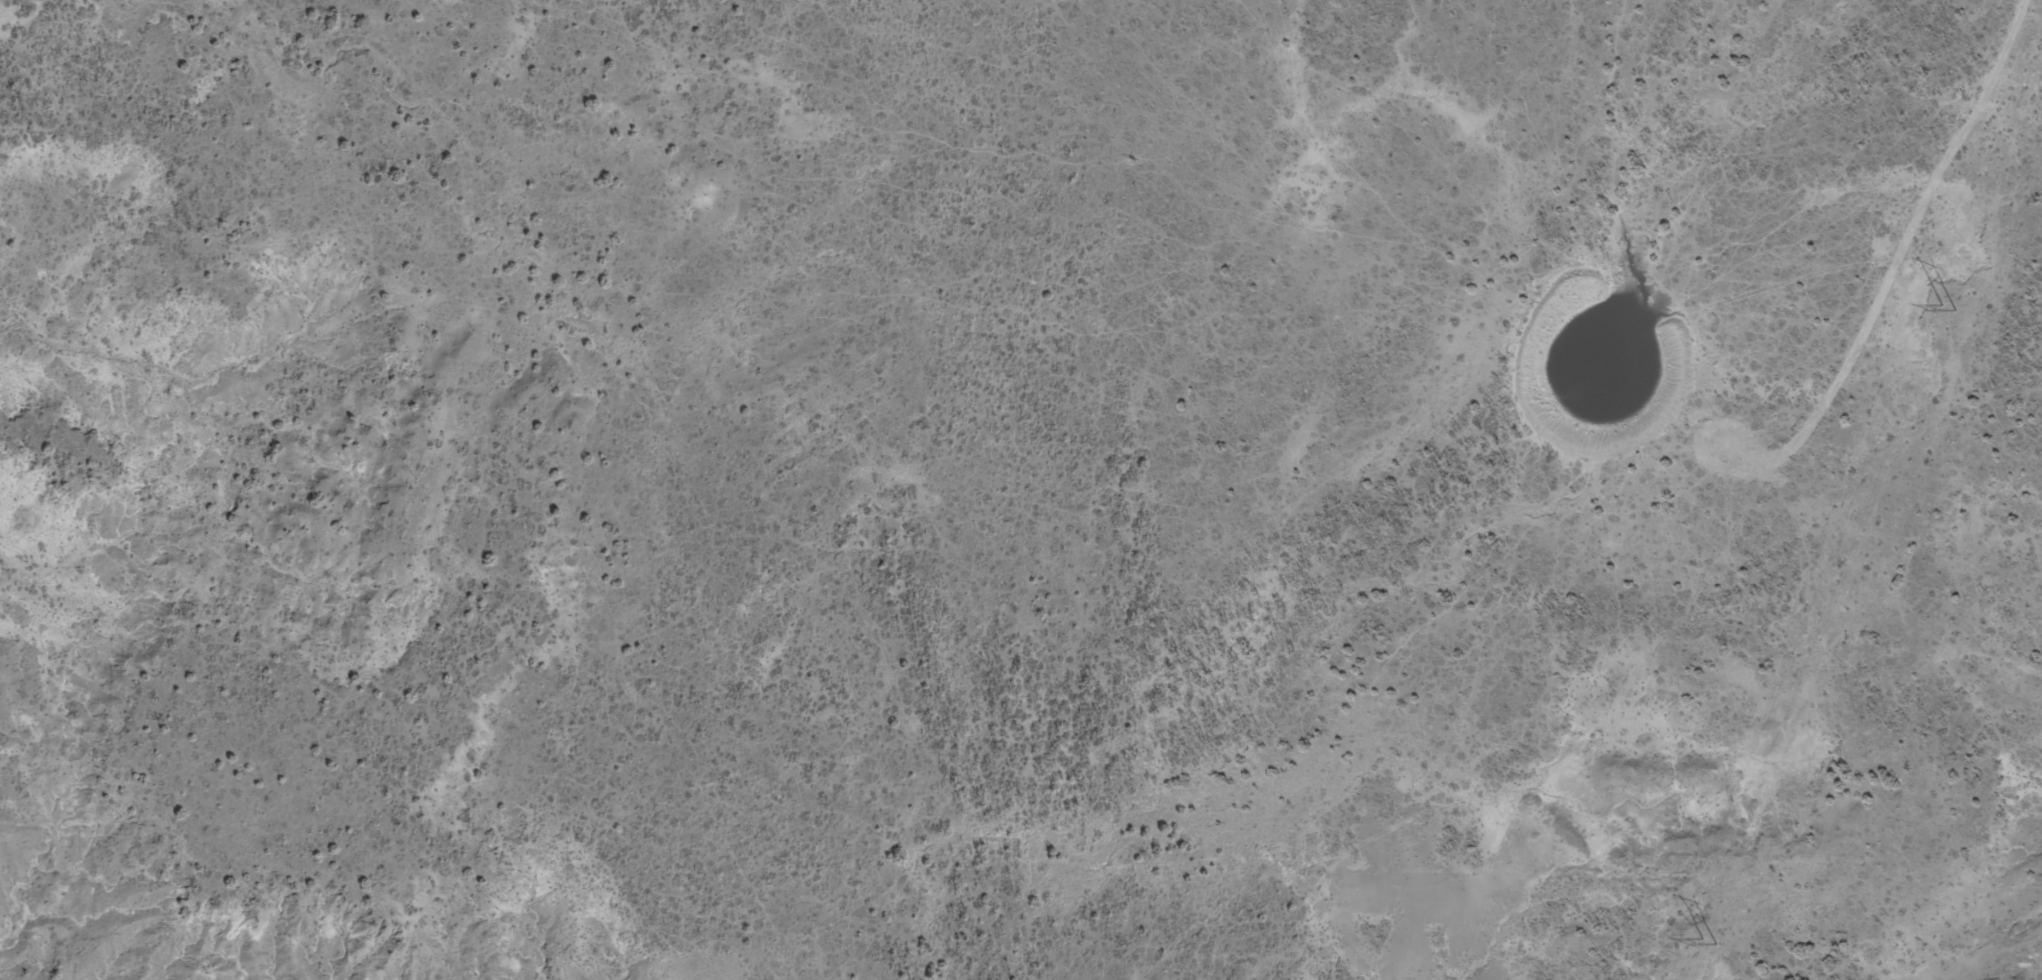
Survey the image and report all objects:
power tower: (1948, 309)
power tower: (1704, 942)

